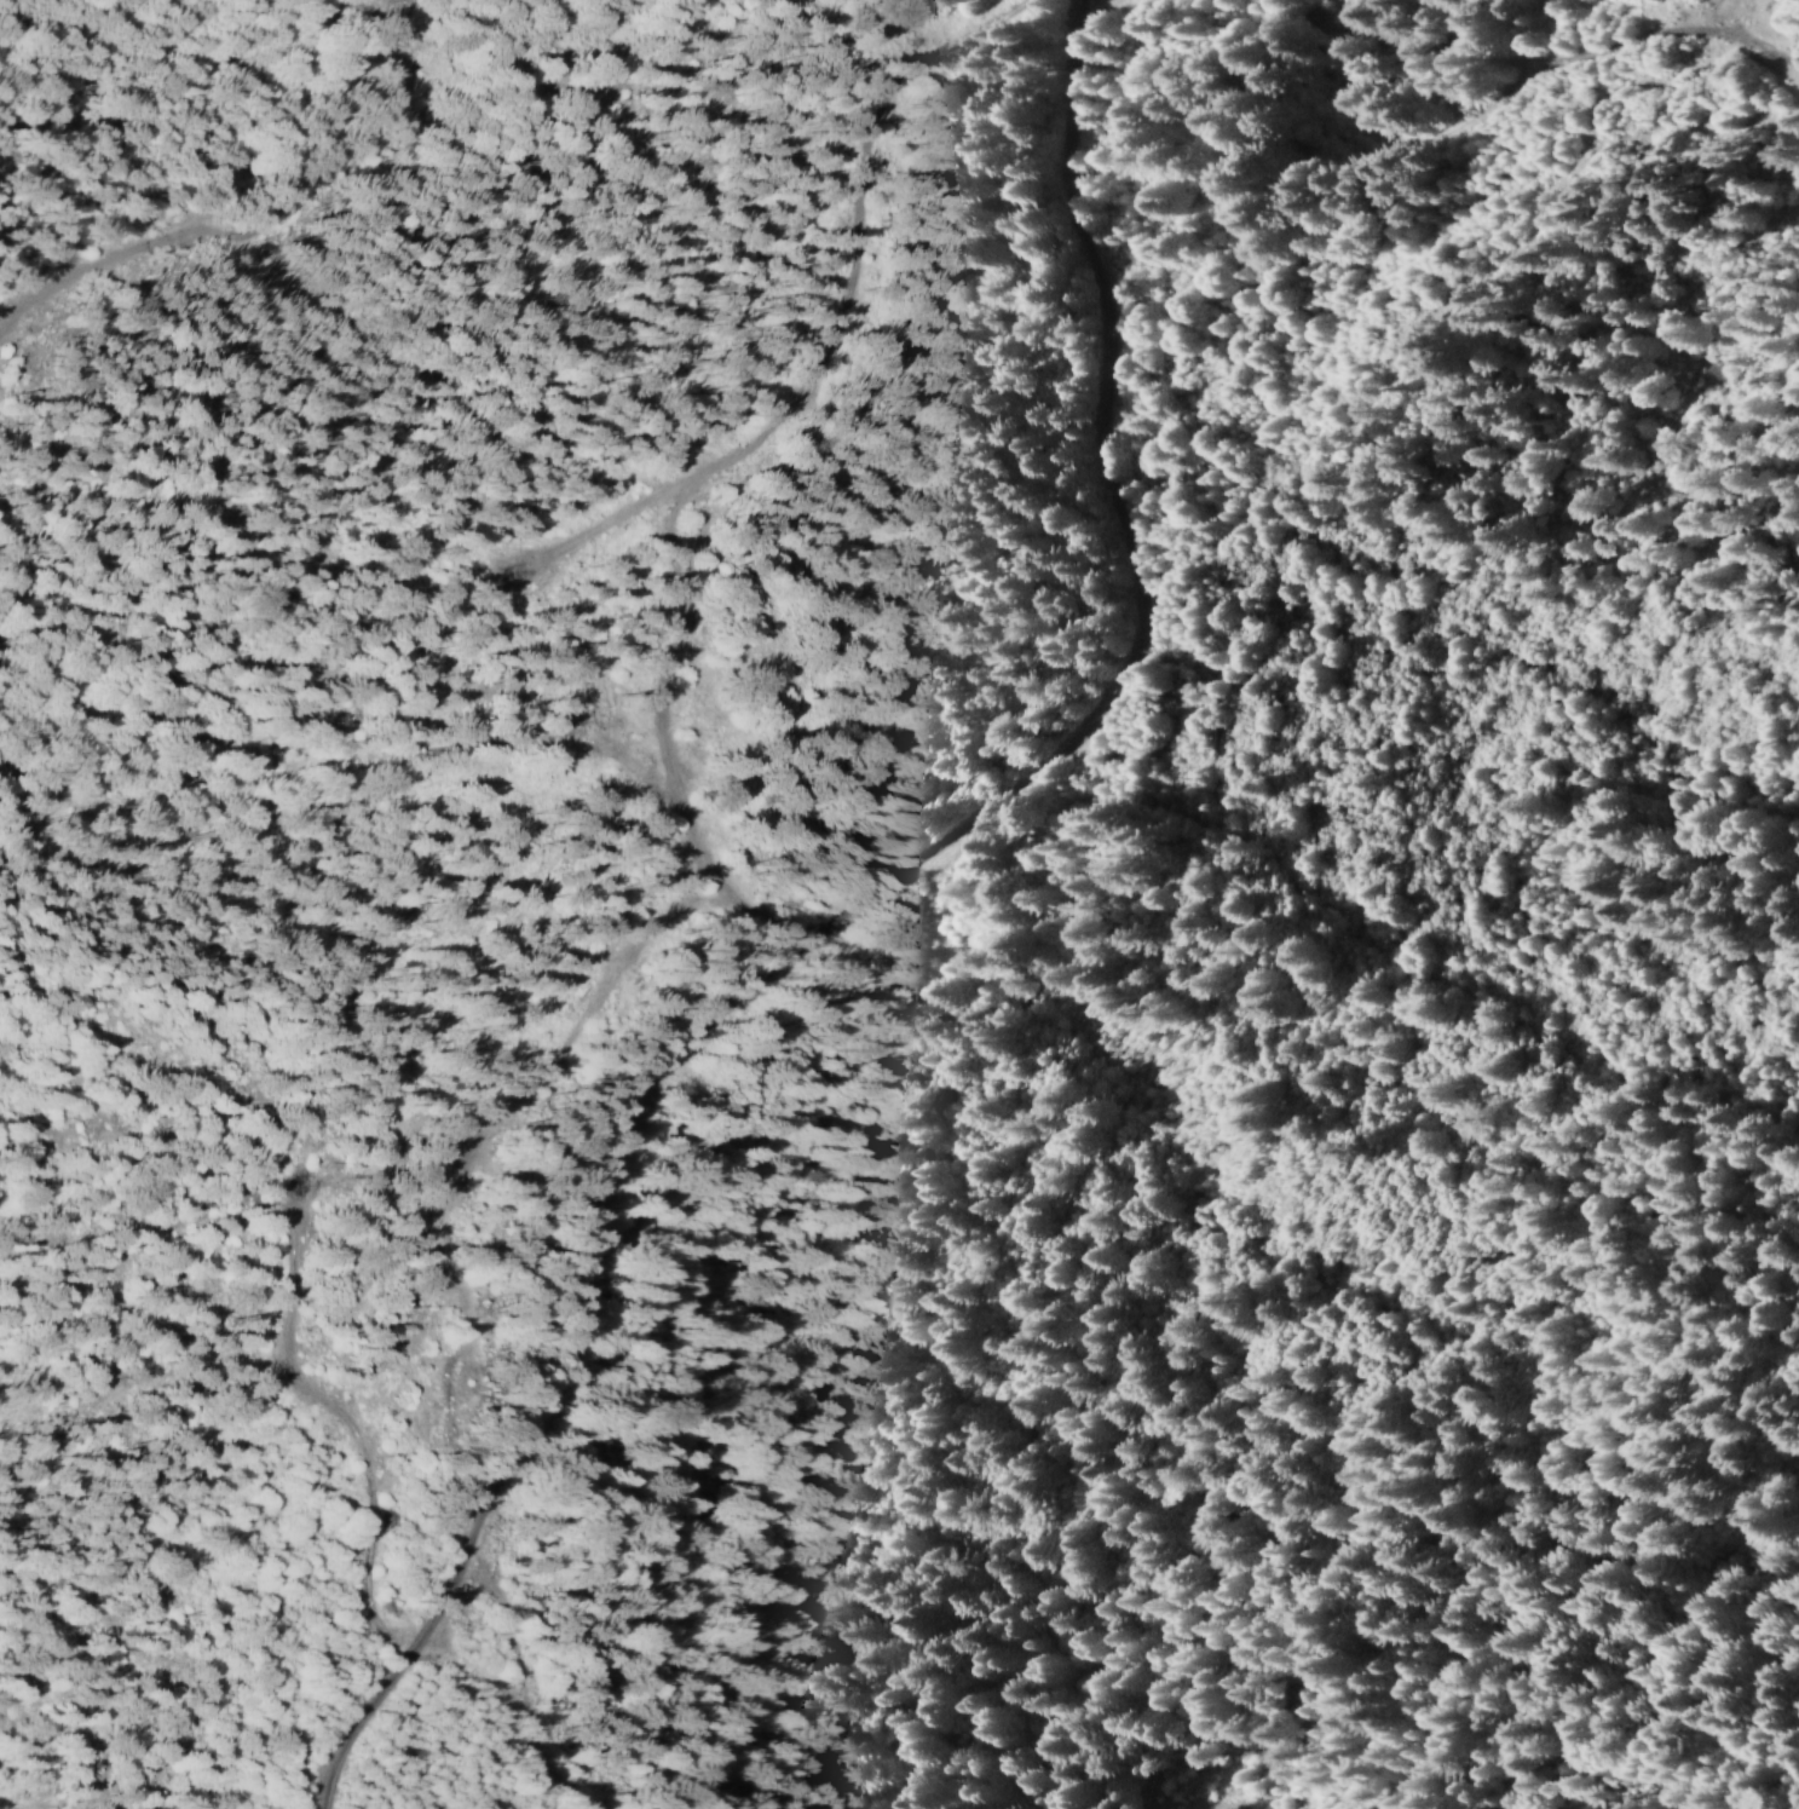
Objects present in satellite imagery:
road: (213, 182)
road: (841, 911)

